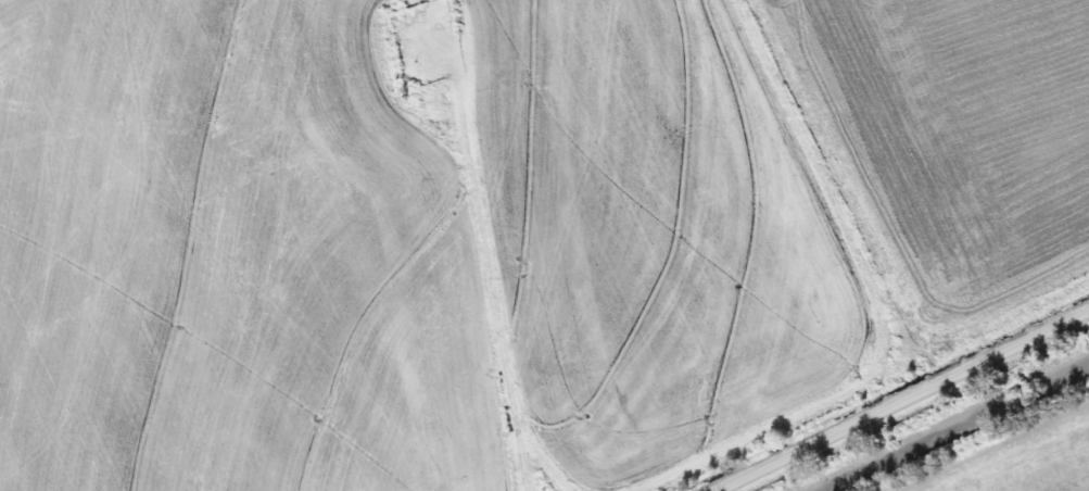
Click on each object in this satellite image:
road: (901, 398)

